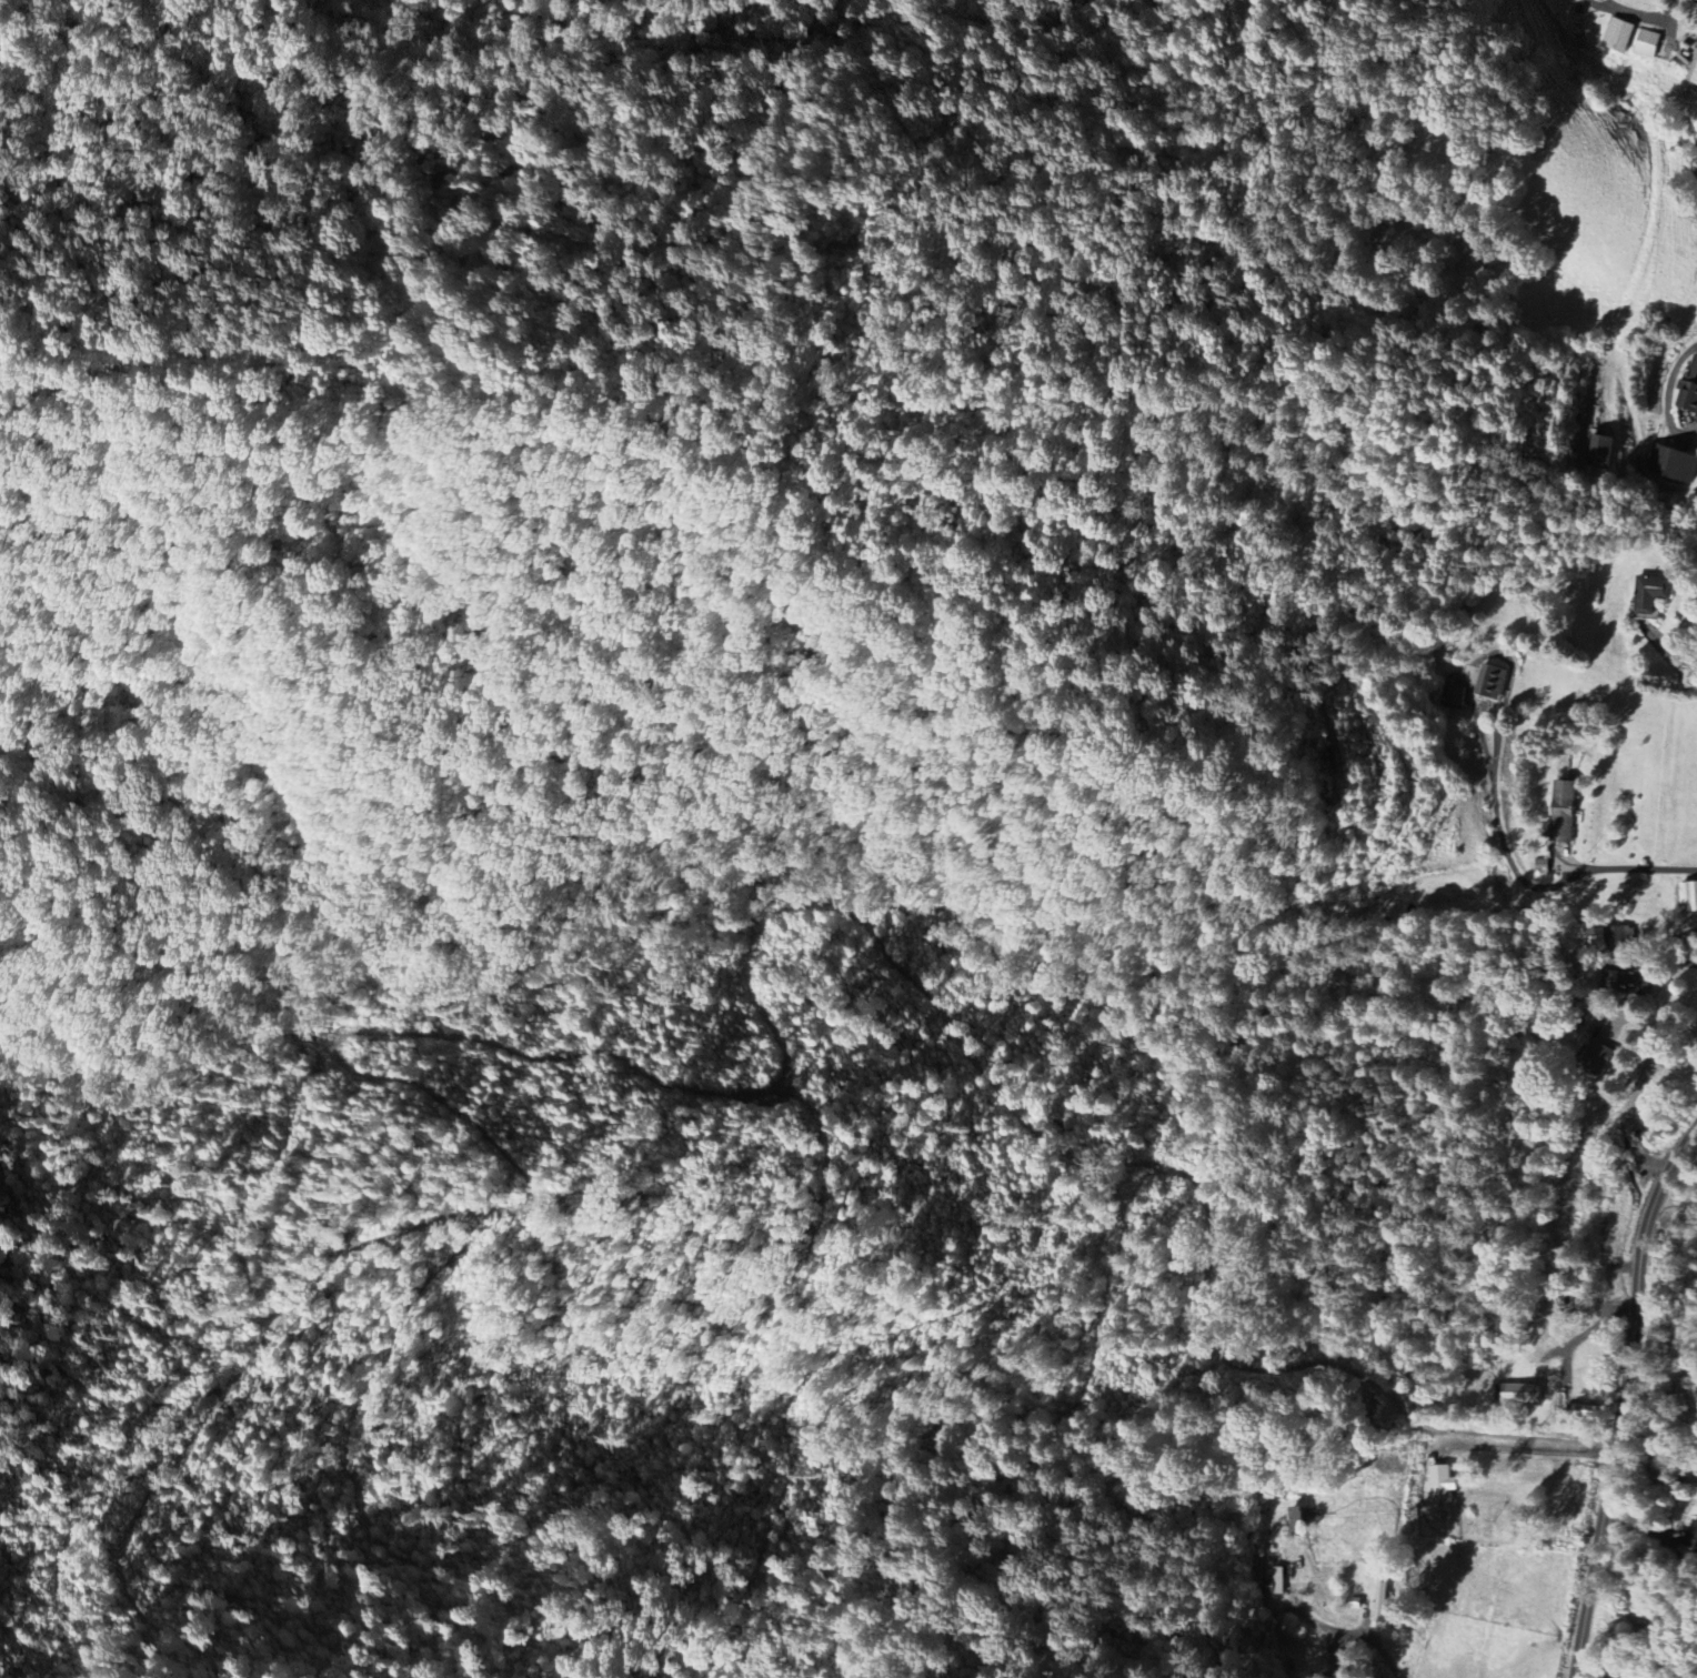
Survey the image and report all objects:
road: (1616, 9)
road: (1674, 10)
road: (1660, 18)
building: (1621, 34)
building: (1649, 43)
building: (1696, 78)
building: (1691, 391)
road: (1666, 394)
building: (1599, 450)
building: (1675, 462)
building: (1654, 593)
building: (1494, 682)
building: (1452, 695)
building: (1563, 814)
building: (1543, 865)
building: (1695, 896)
building: (1611, 935)
building: (1625, 983)
building: (1603, 1057)
road: (1626, 1397)
building: (1445, 1485)
building: (1304, 1518)
road: (1657, 1530)
building: (1693, 1536)
building: (1276, 1584)
building: (1383, 1601)
road: (1598, 1668)

